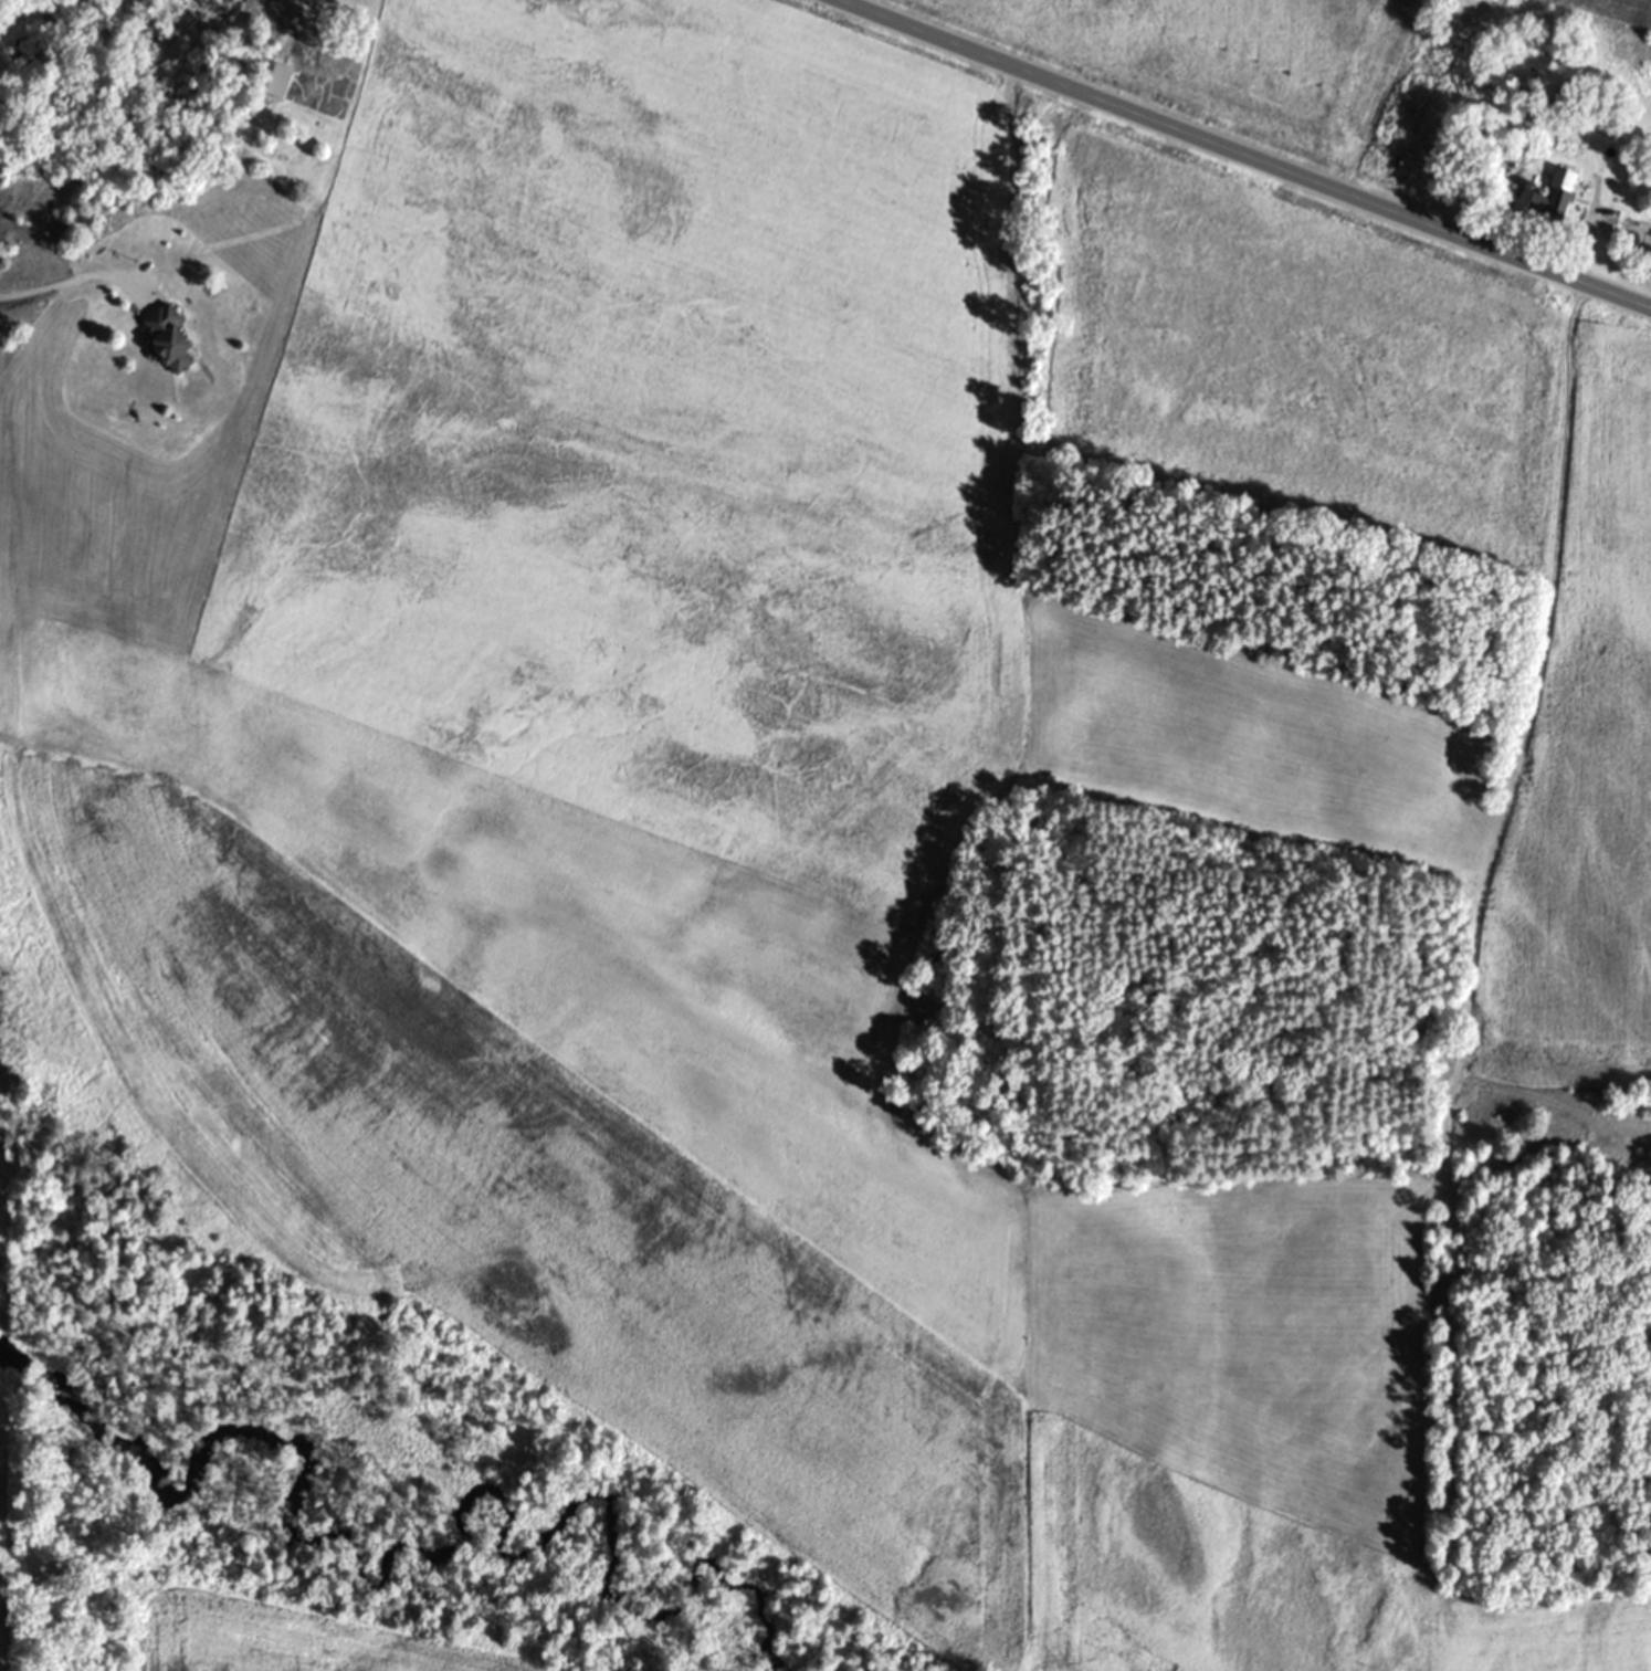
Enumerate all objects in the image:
building: (229, 1)
building: (275, 80)
road: (1247, 160)
building: (1553, 192)
road: (70, 275)
building: (168, 338)

